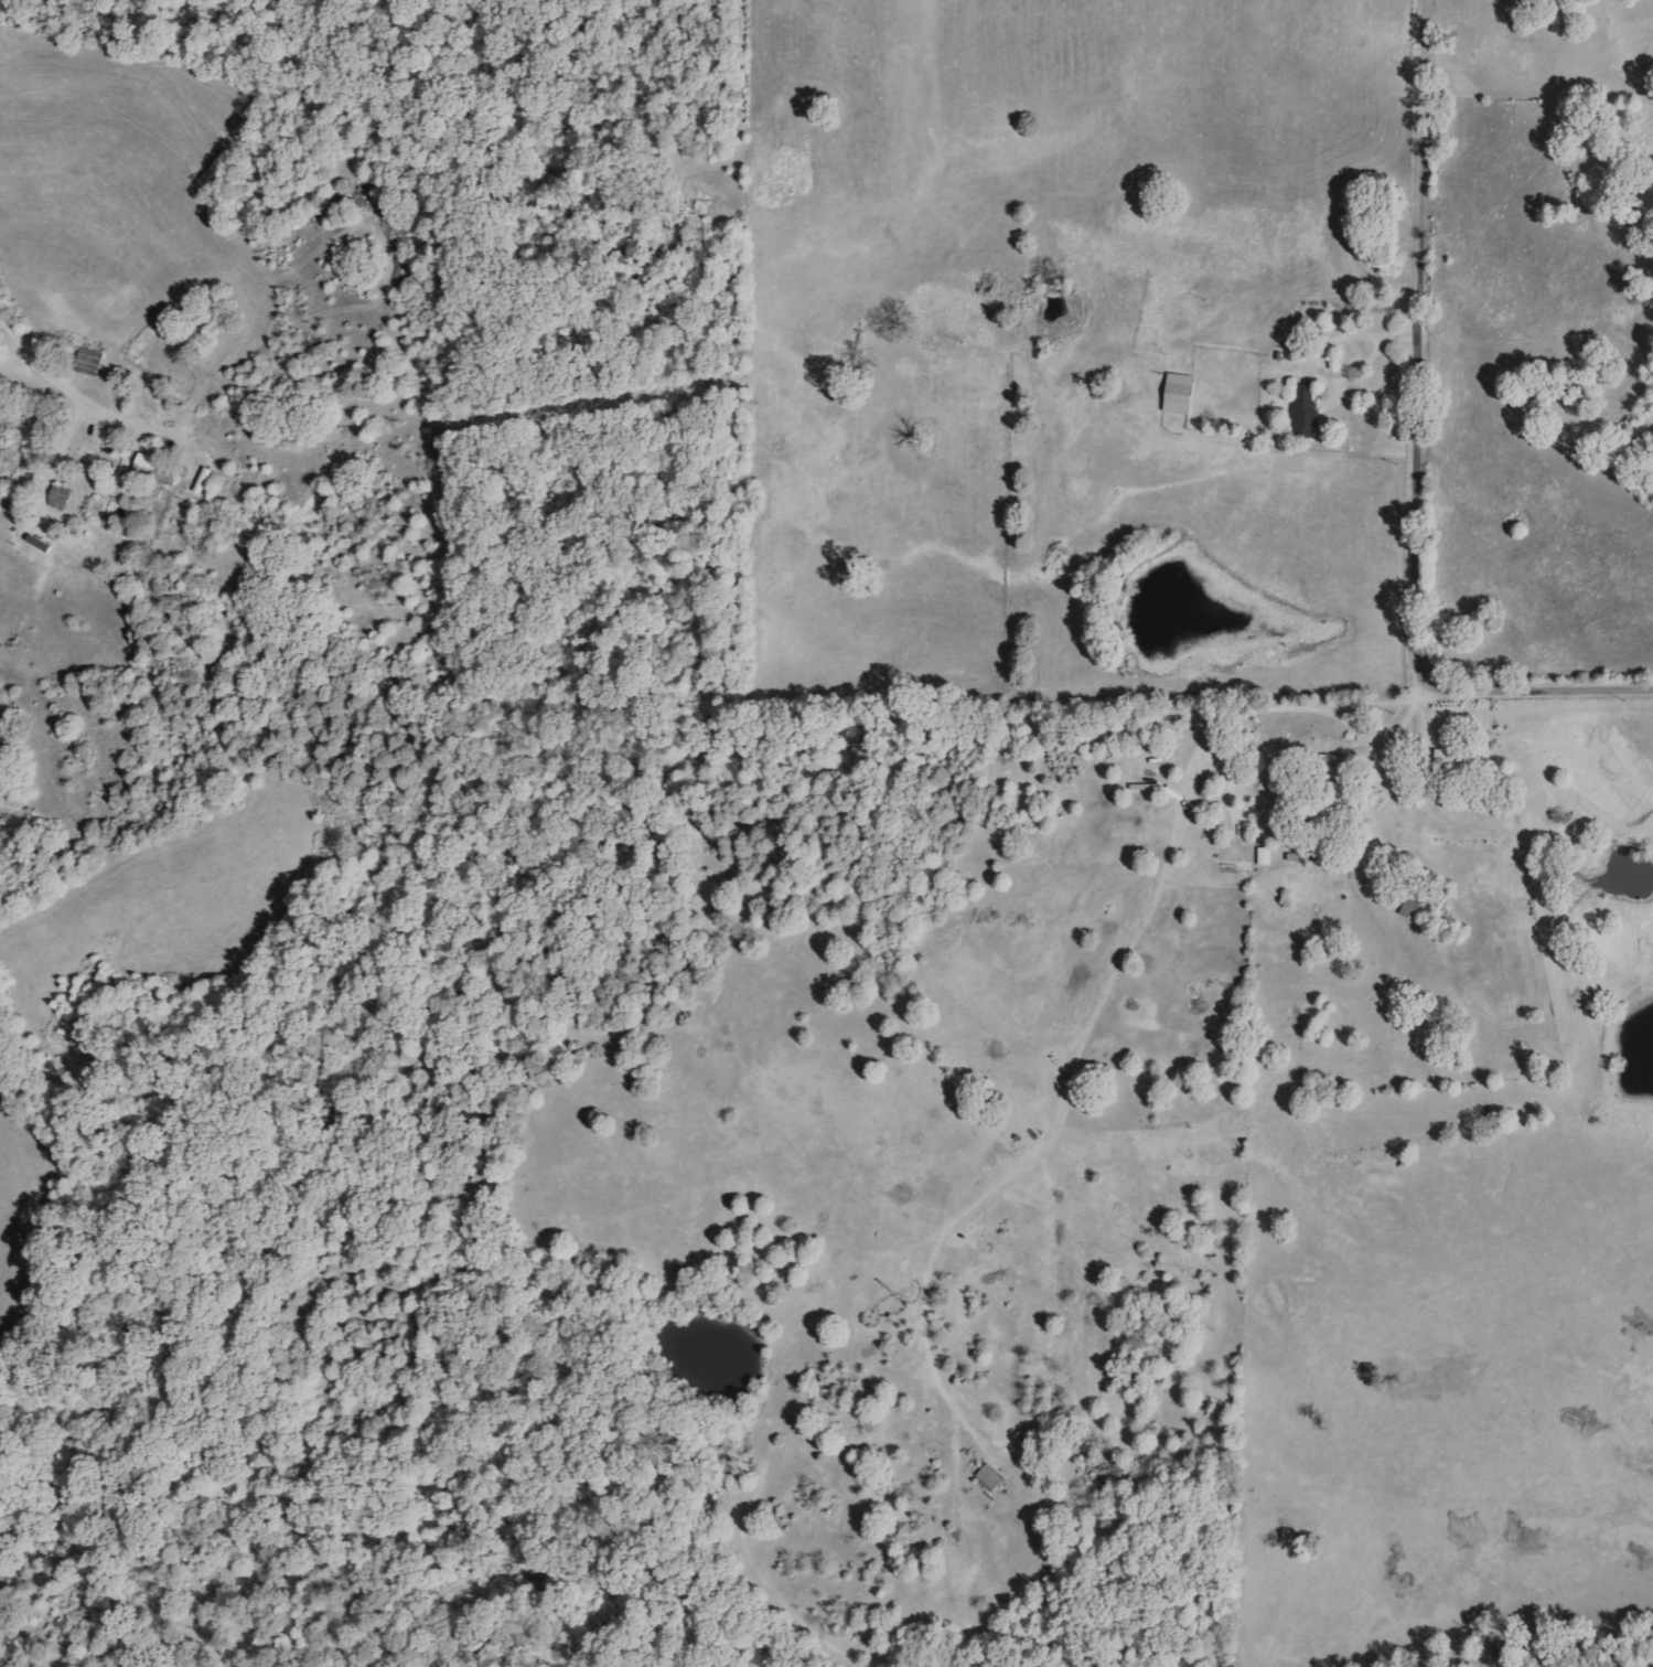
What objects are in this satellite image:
road: (1418, 343)
road: (1322, 348)
building: (92, 362)
road: (44, 372)
building: (1181, 393)
building: (1308, 409)
building: (159, 469)
building: (62, 496)
road: (1544, 688)
road: (1374, 704)
road: (1115, 990)

